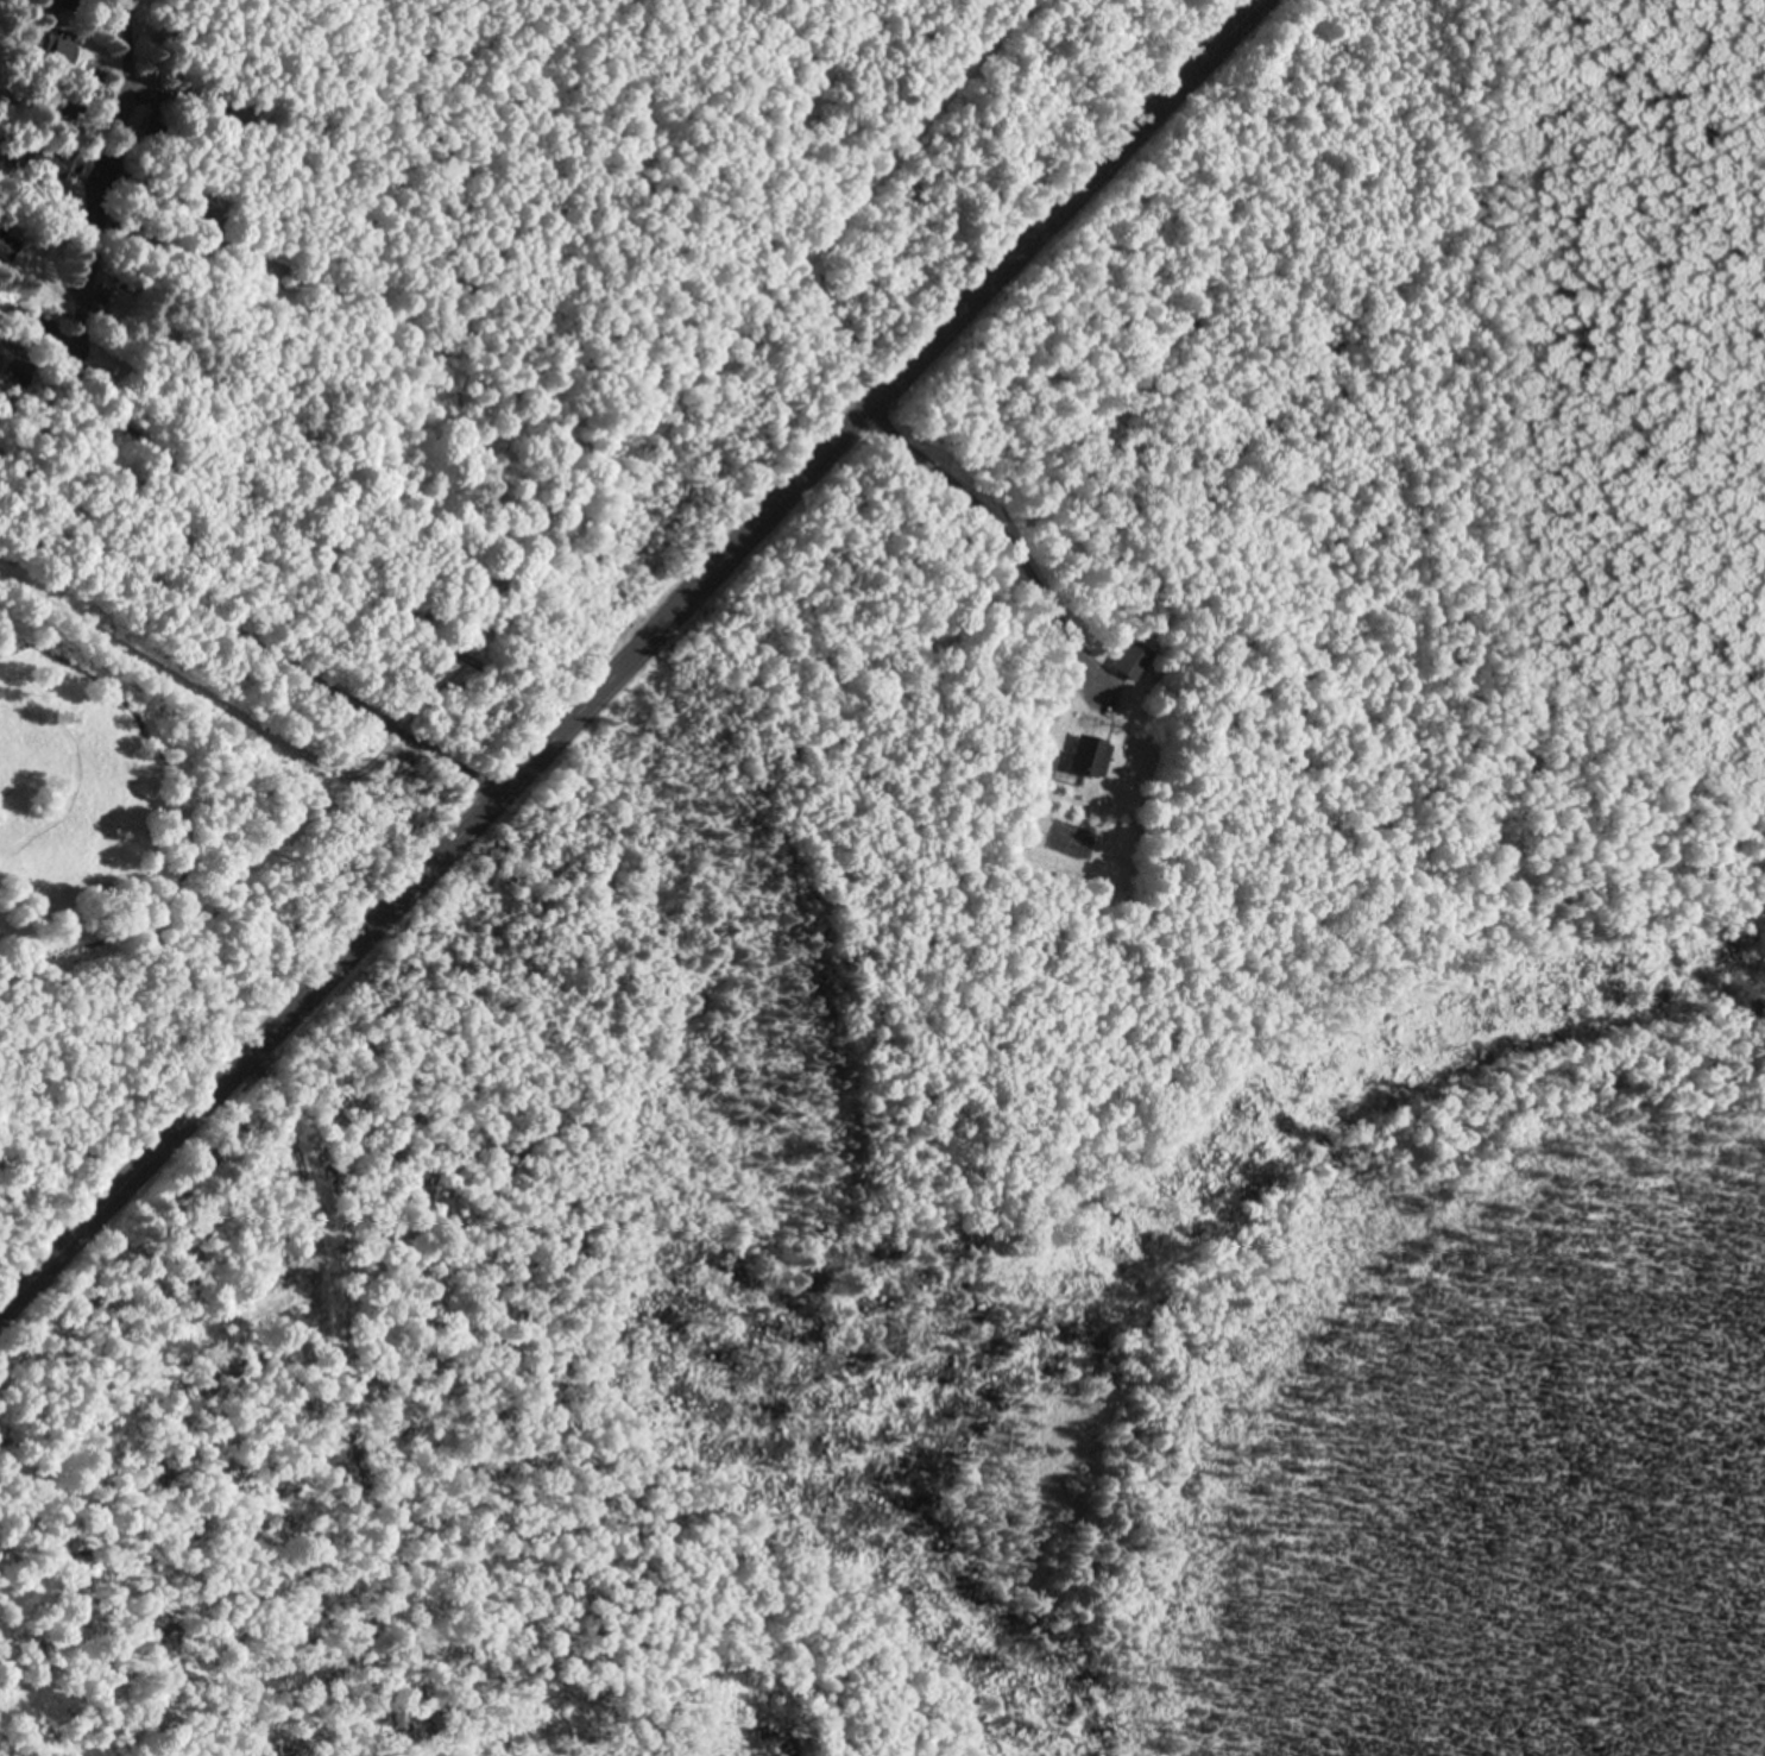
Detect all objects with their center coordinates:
building: (62, 49)
road: (128, 127)
building: (55, 165)
building: (8, 251)
road: (259, 624)
road: (625, 674)
road: (208, 788)
road: (7, 1348)

